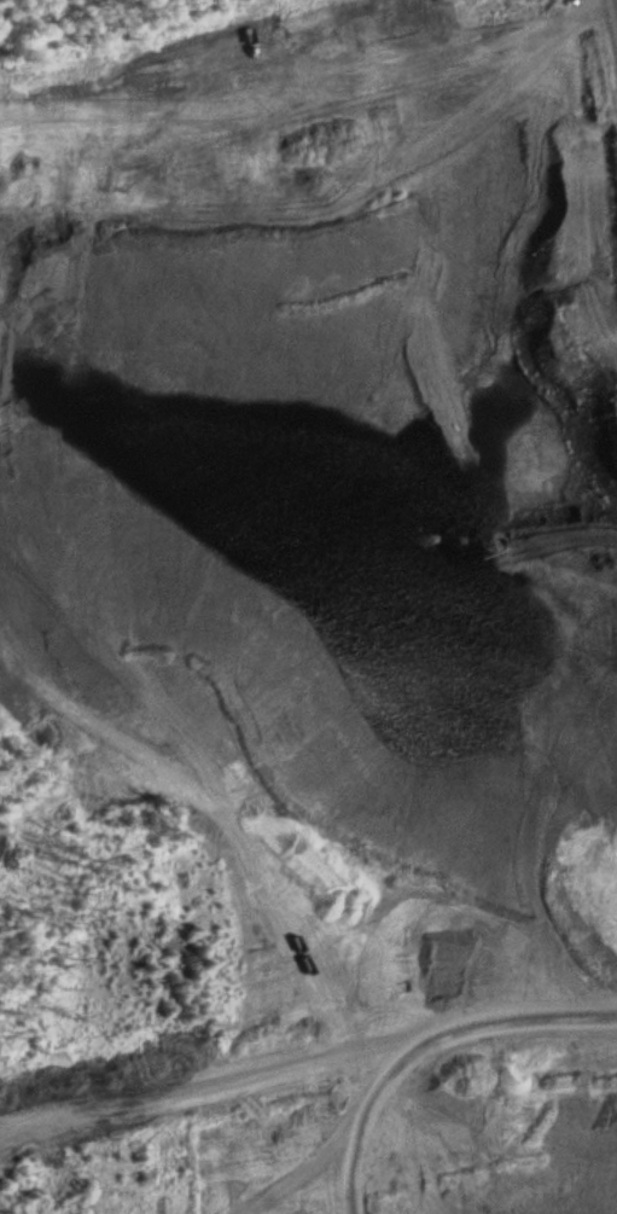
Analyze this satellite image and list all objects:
quarry: (308, 606)

